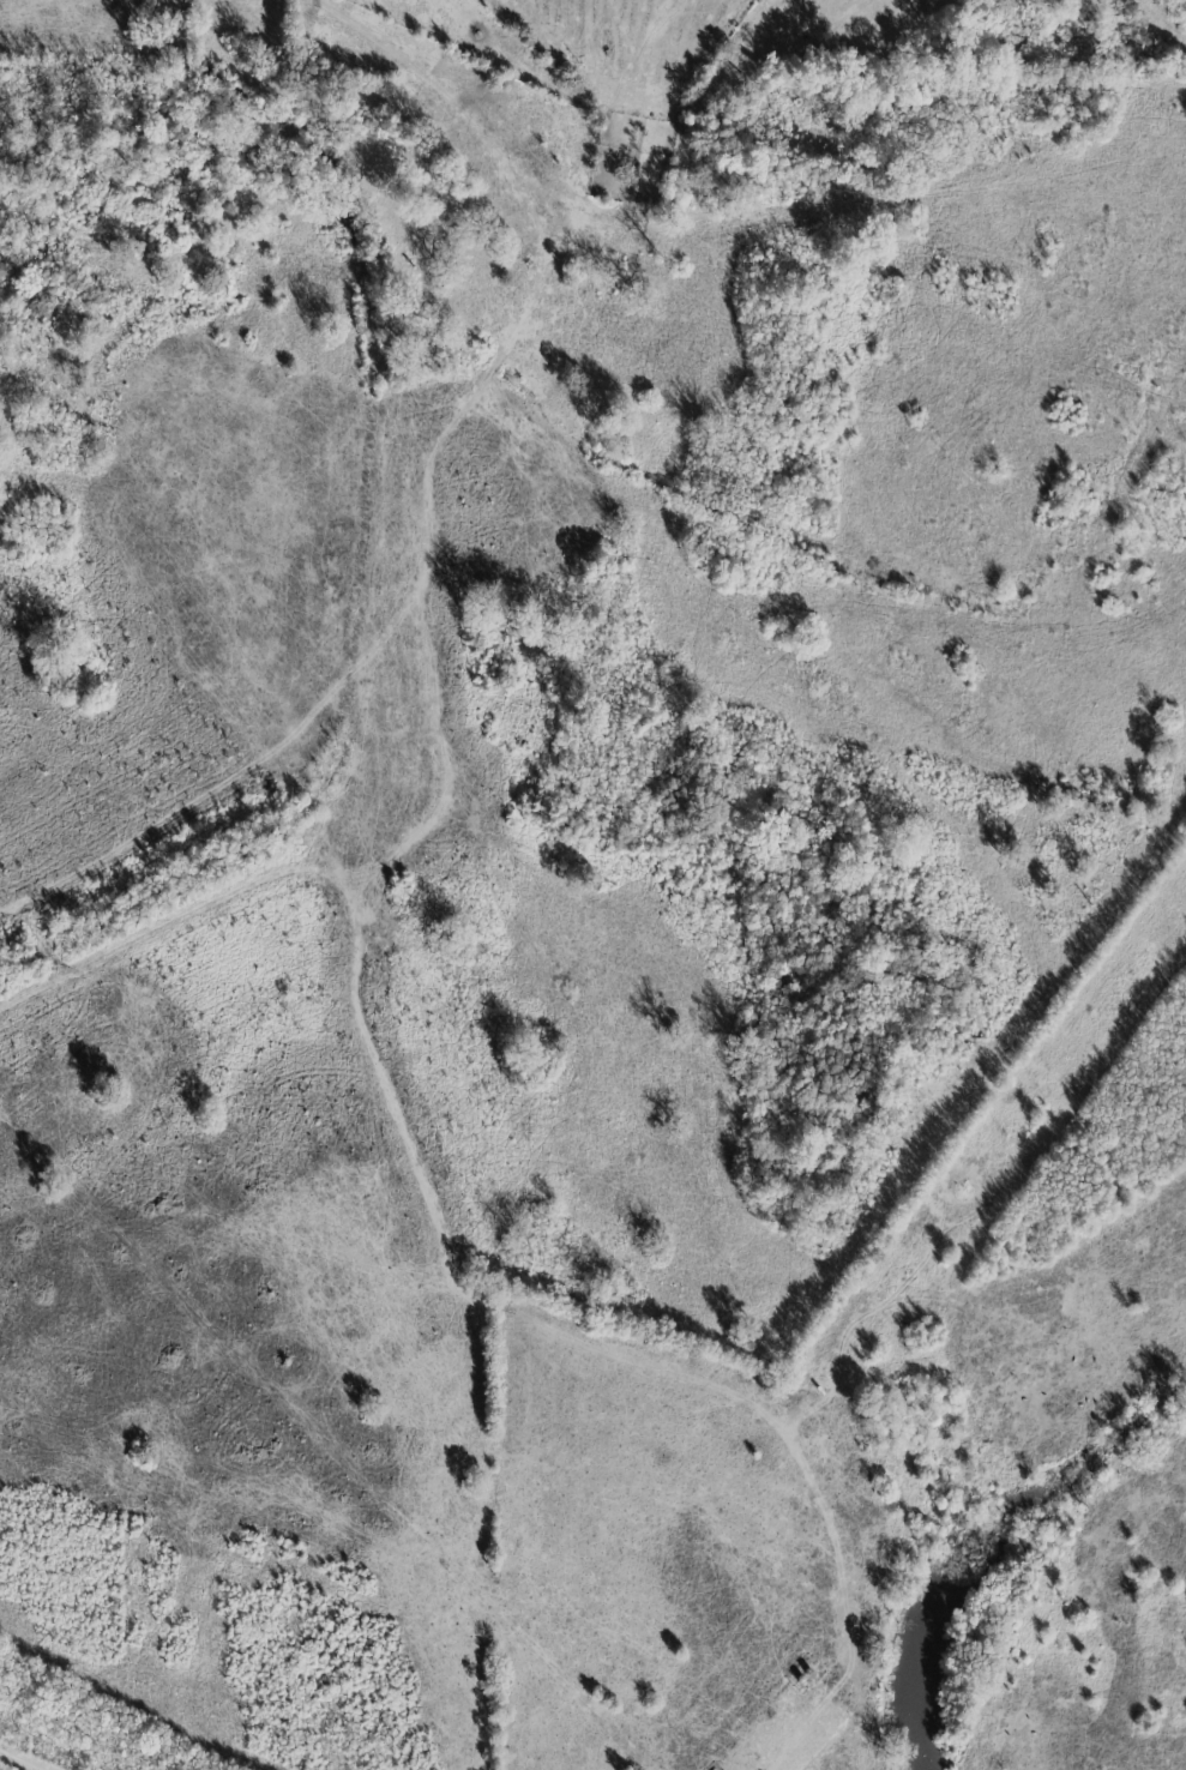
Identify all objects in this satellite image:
road: (600, 16)
road: (42, 875)
road: (24, 1758)

